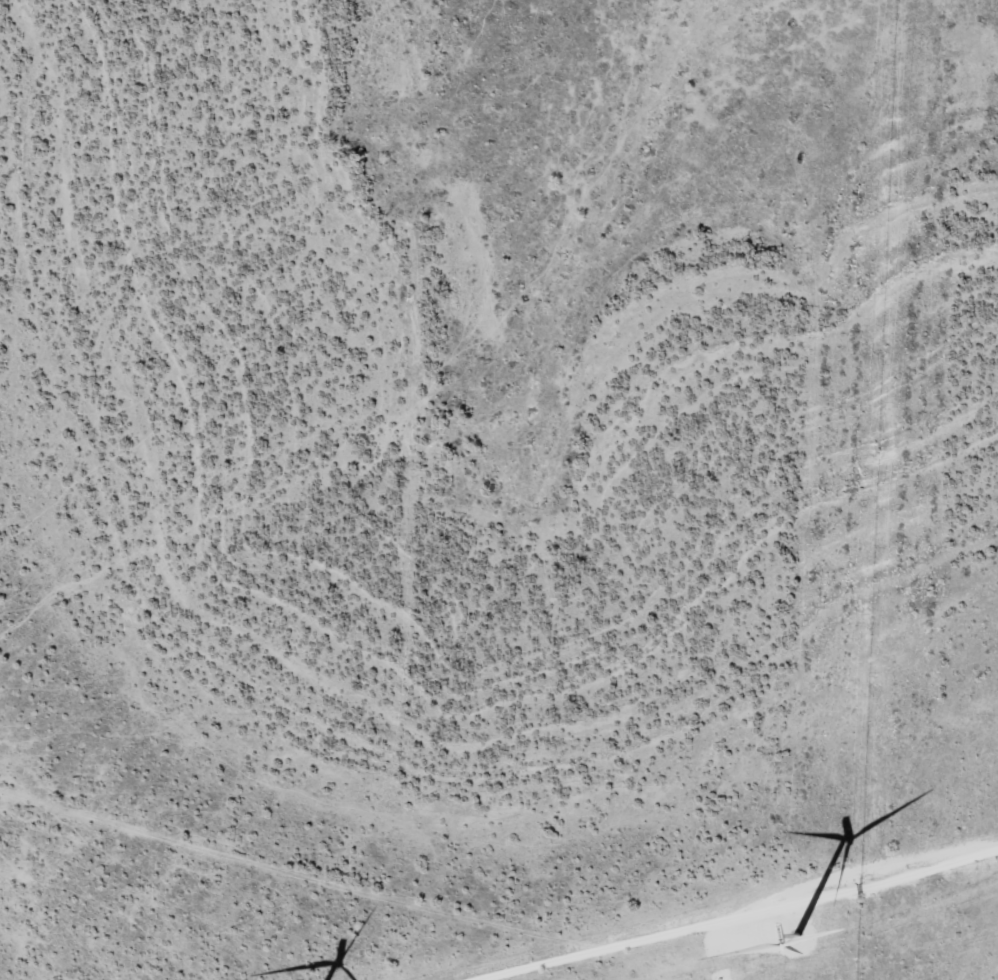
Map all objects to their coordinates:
wind turbine: (794, 937)
road: (492, 948)

